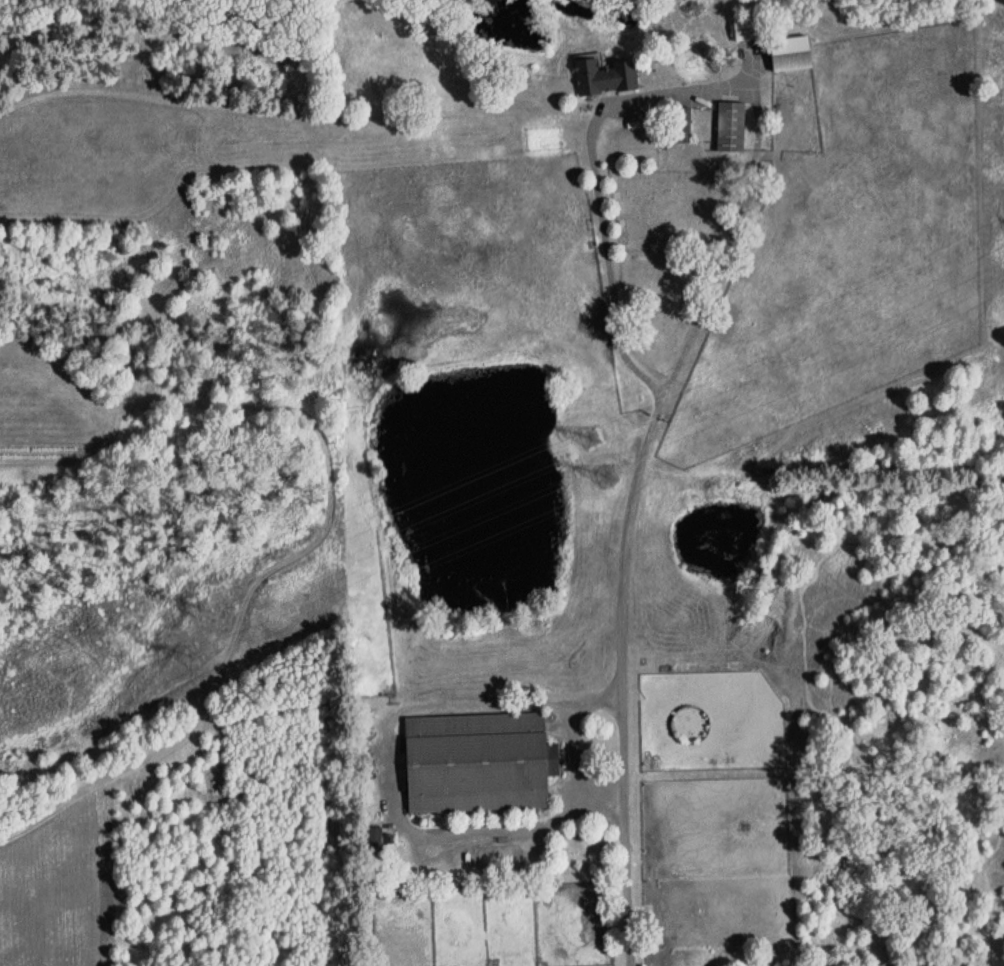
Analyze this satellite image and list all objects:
building: (737, 30)
building: (786, 54)
building: (601, 77)
road: (694, 97)
building: (679, 125)
building: (728, 127)
power tower: (593, 442)
power tower: (614, 476)
power tower: (203, 609)
power tower: (195, 665)
road: (631, 682)
road: (567, 760)
building: (475, 763)
road: (383, 775)
building: (376, 838)

